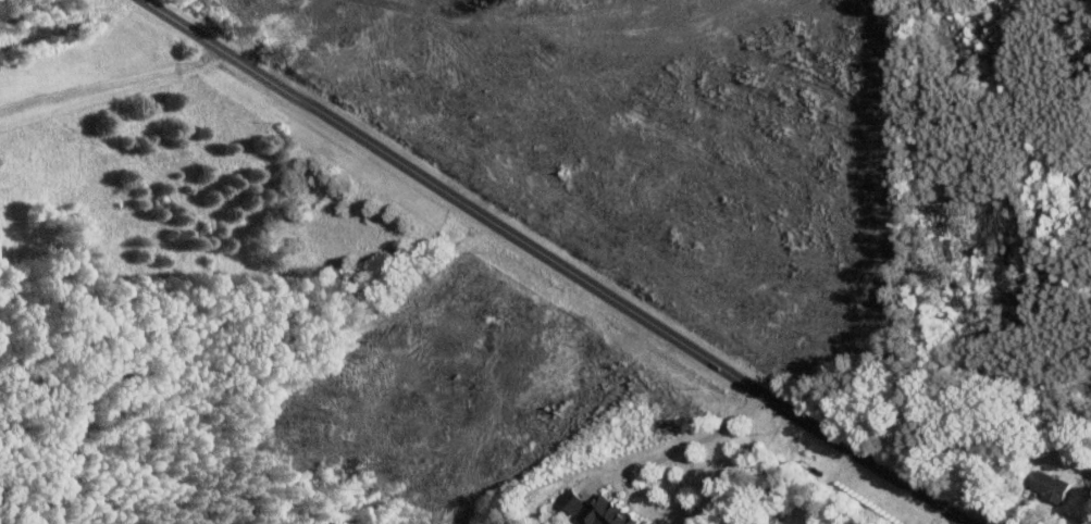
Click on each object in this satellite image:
road: (112, 83)
road: (557, 260)
road: (693, 441)
building: (1047, 486)
building: (602, 512)

